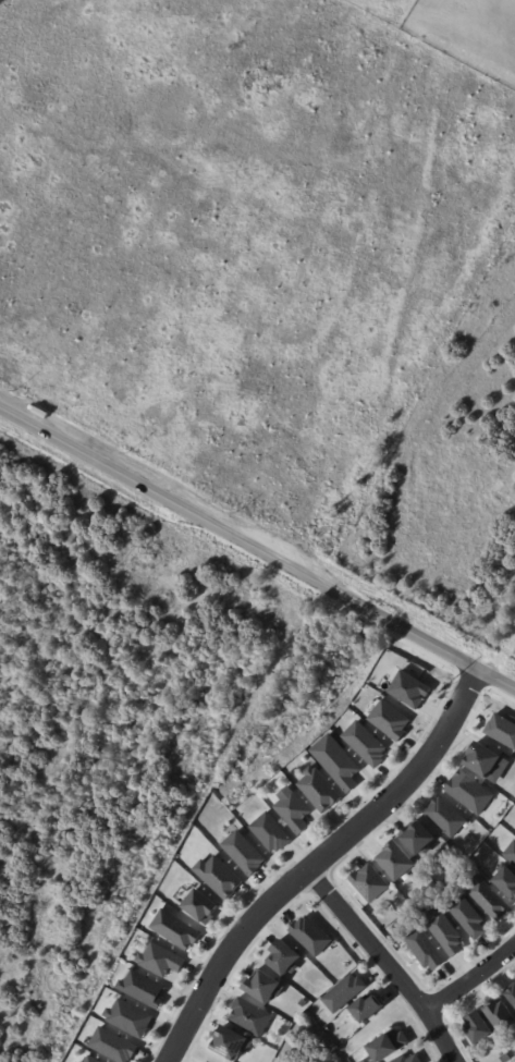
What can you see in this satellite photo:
road: (240, 535)
road: (498, 674)
building: (408, 688)
building: (426, 706)
building: (389, 719)
building: (501, 729)
building: (367, 743)
building: (482, 757)
building: (344, 768)
road: (409, 782)
building: (320, 789)
building: (469, 792)
building: (294, 809)
building: (446, 817)
building: (272, 832)
building: (419, 837)
building: (245, 852)
building: (512, 853)
building: (393, 859)
building: (221, 876)
building: (368, 880)
building: (507, 881)
building: (490, 898)
building: (204, 905)
building: (469, 917)
building: (176, 929)
building: (447, 932)
building: (312, 936)
road: (367, 942)
building: (427, 949)
building: (285, 957)
road: (225, 959)
building: (162, 960)
road: (470, 978)
building: (266, 987)
building: (145, 989)
building: (346, 992)
building: (512, 992)
building: (304, 1002)
building: (370, 1008)
building: (502, 1015)
building: (252, 1016)
building: (131, 1018)
building: (481, 1028)
road: (441, 1037)
building: (232, 1041)
building: (115, 1046)
building: (392, 1046)
building: (502, 1057)
building: (412, 1059)
building: (94, 1060)
building: (76, 1061)

